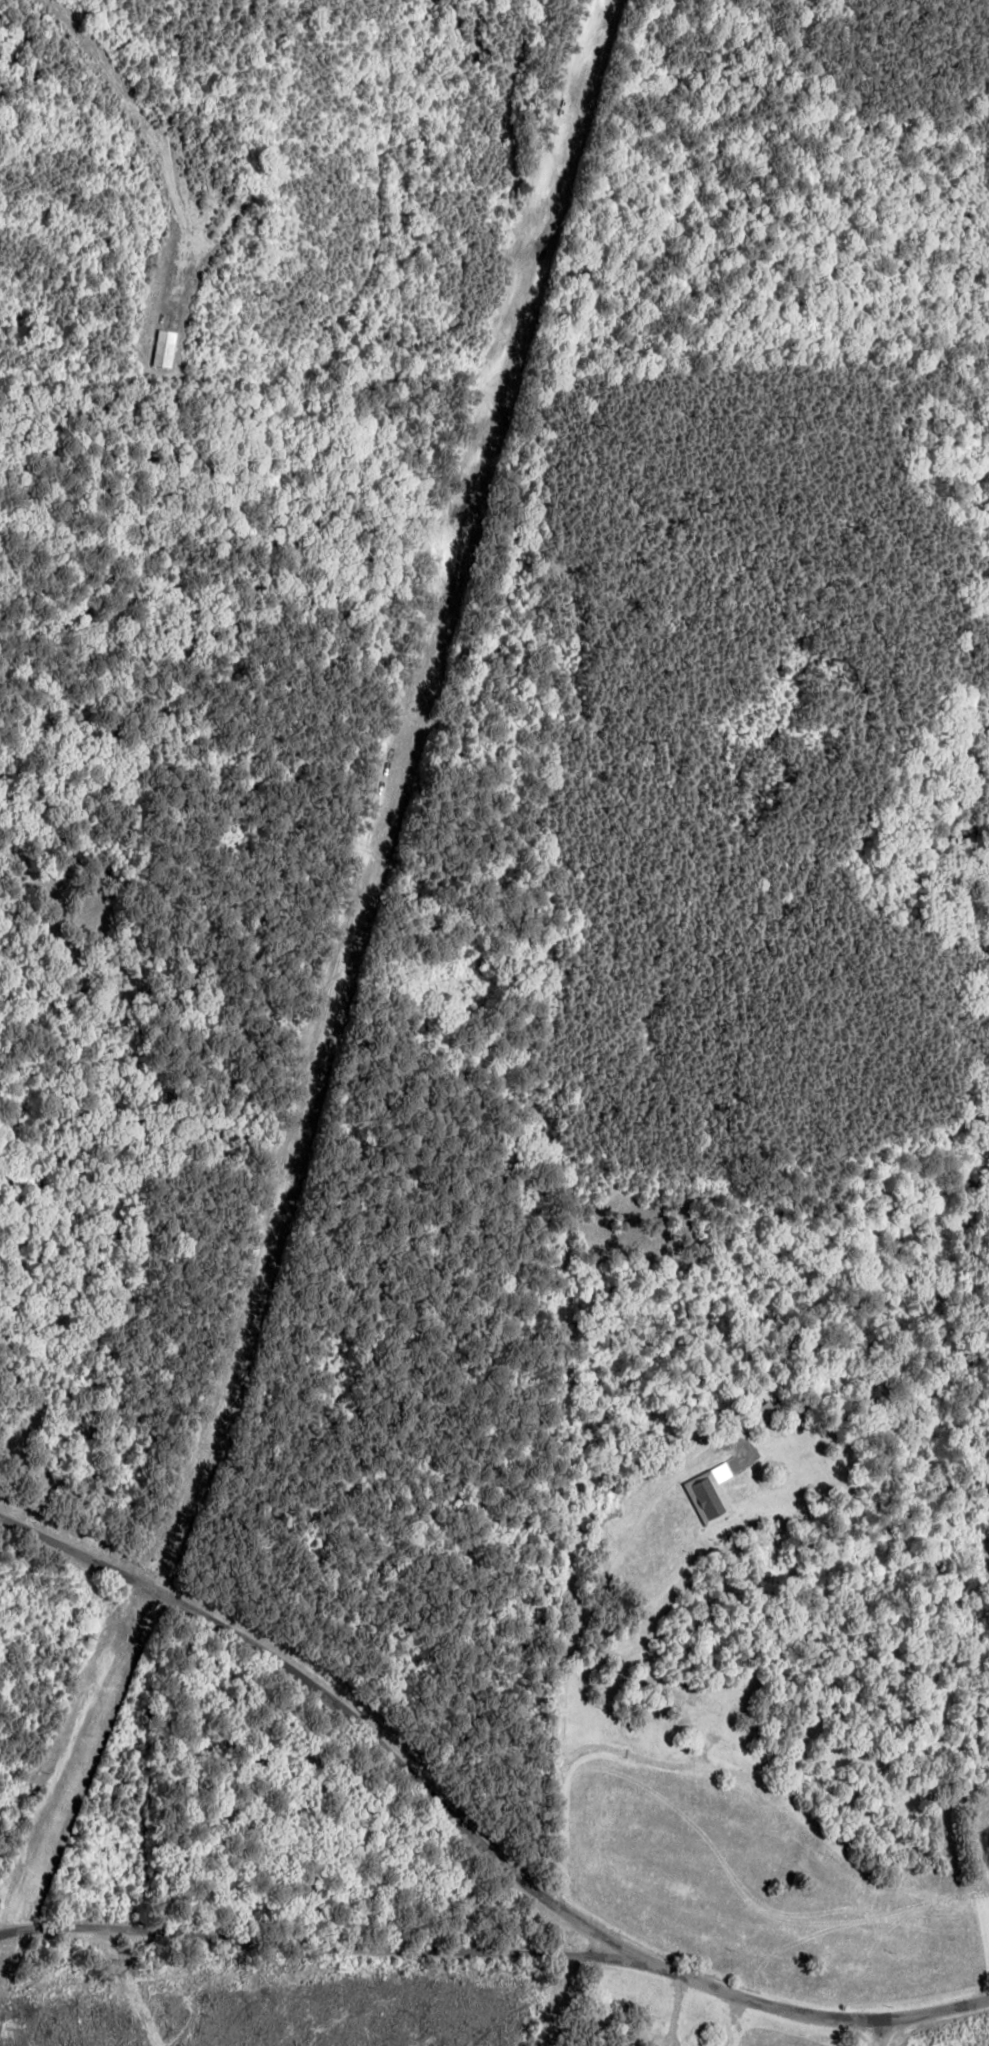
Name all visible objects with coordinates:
building: (164, 347)
building: (709, 1493)
road: (348, 1698)
road: (499, 1949)
road: (881, 2034)

